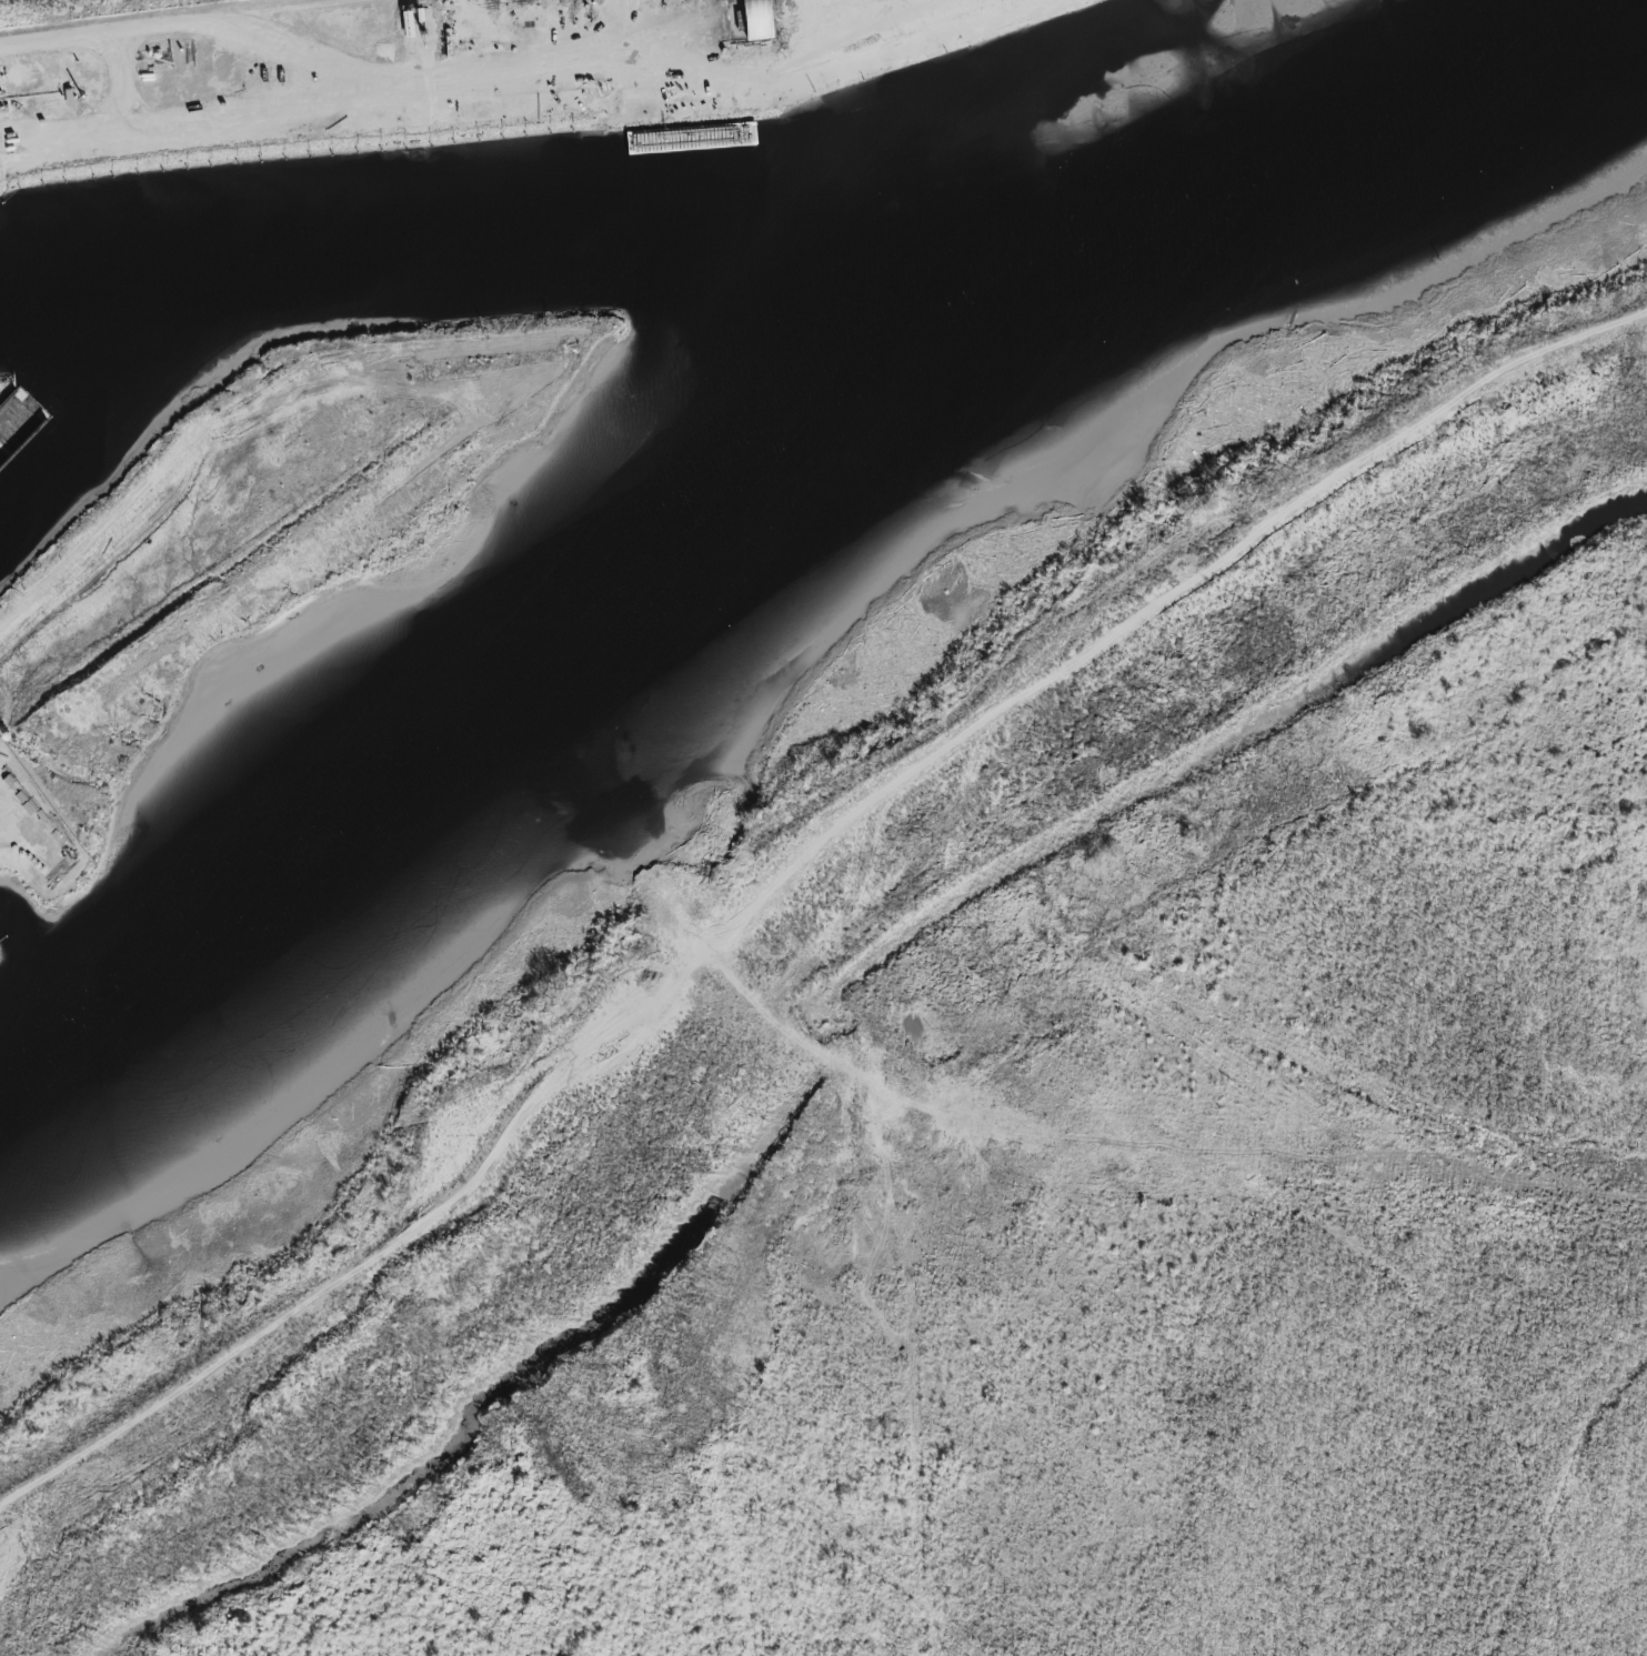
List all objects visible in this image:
road: (329, 54)
building: (58, 202)
road: (34, 856)

